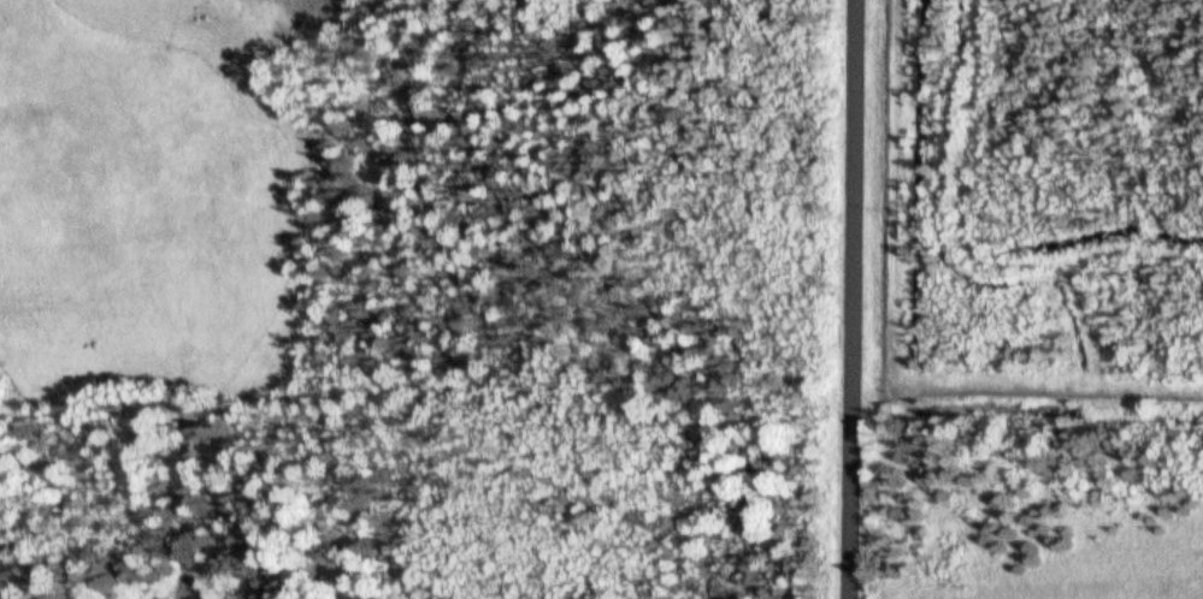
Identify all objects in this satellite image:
road: (857, 299)

